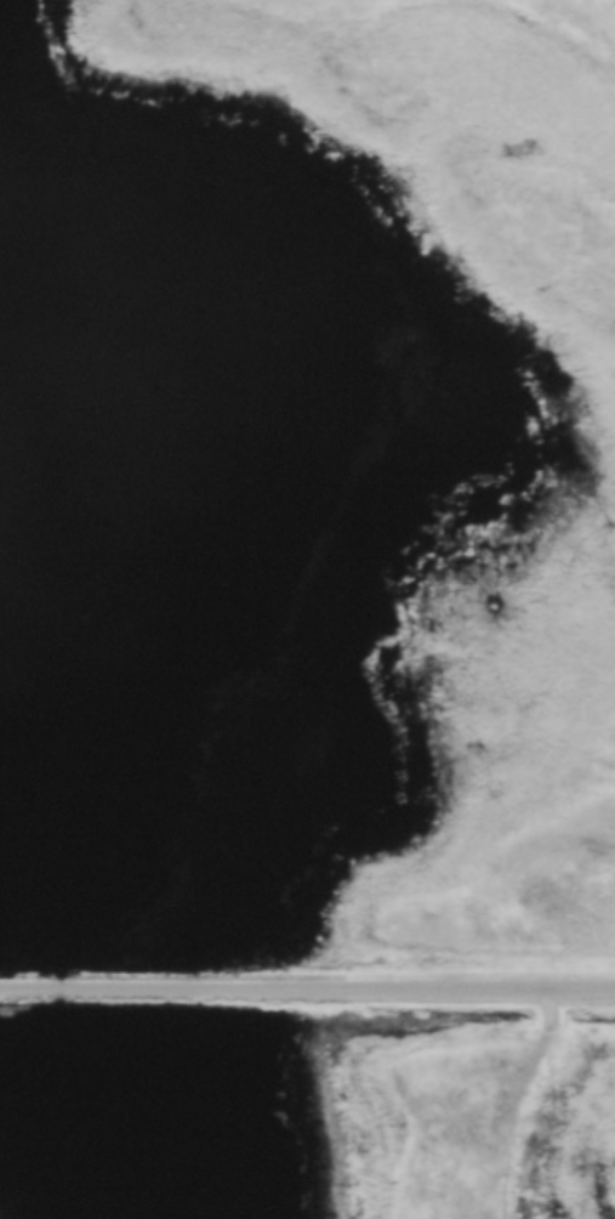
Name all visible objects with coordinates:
road: (307, 991)

